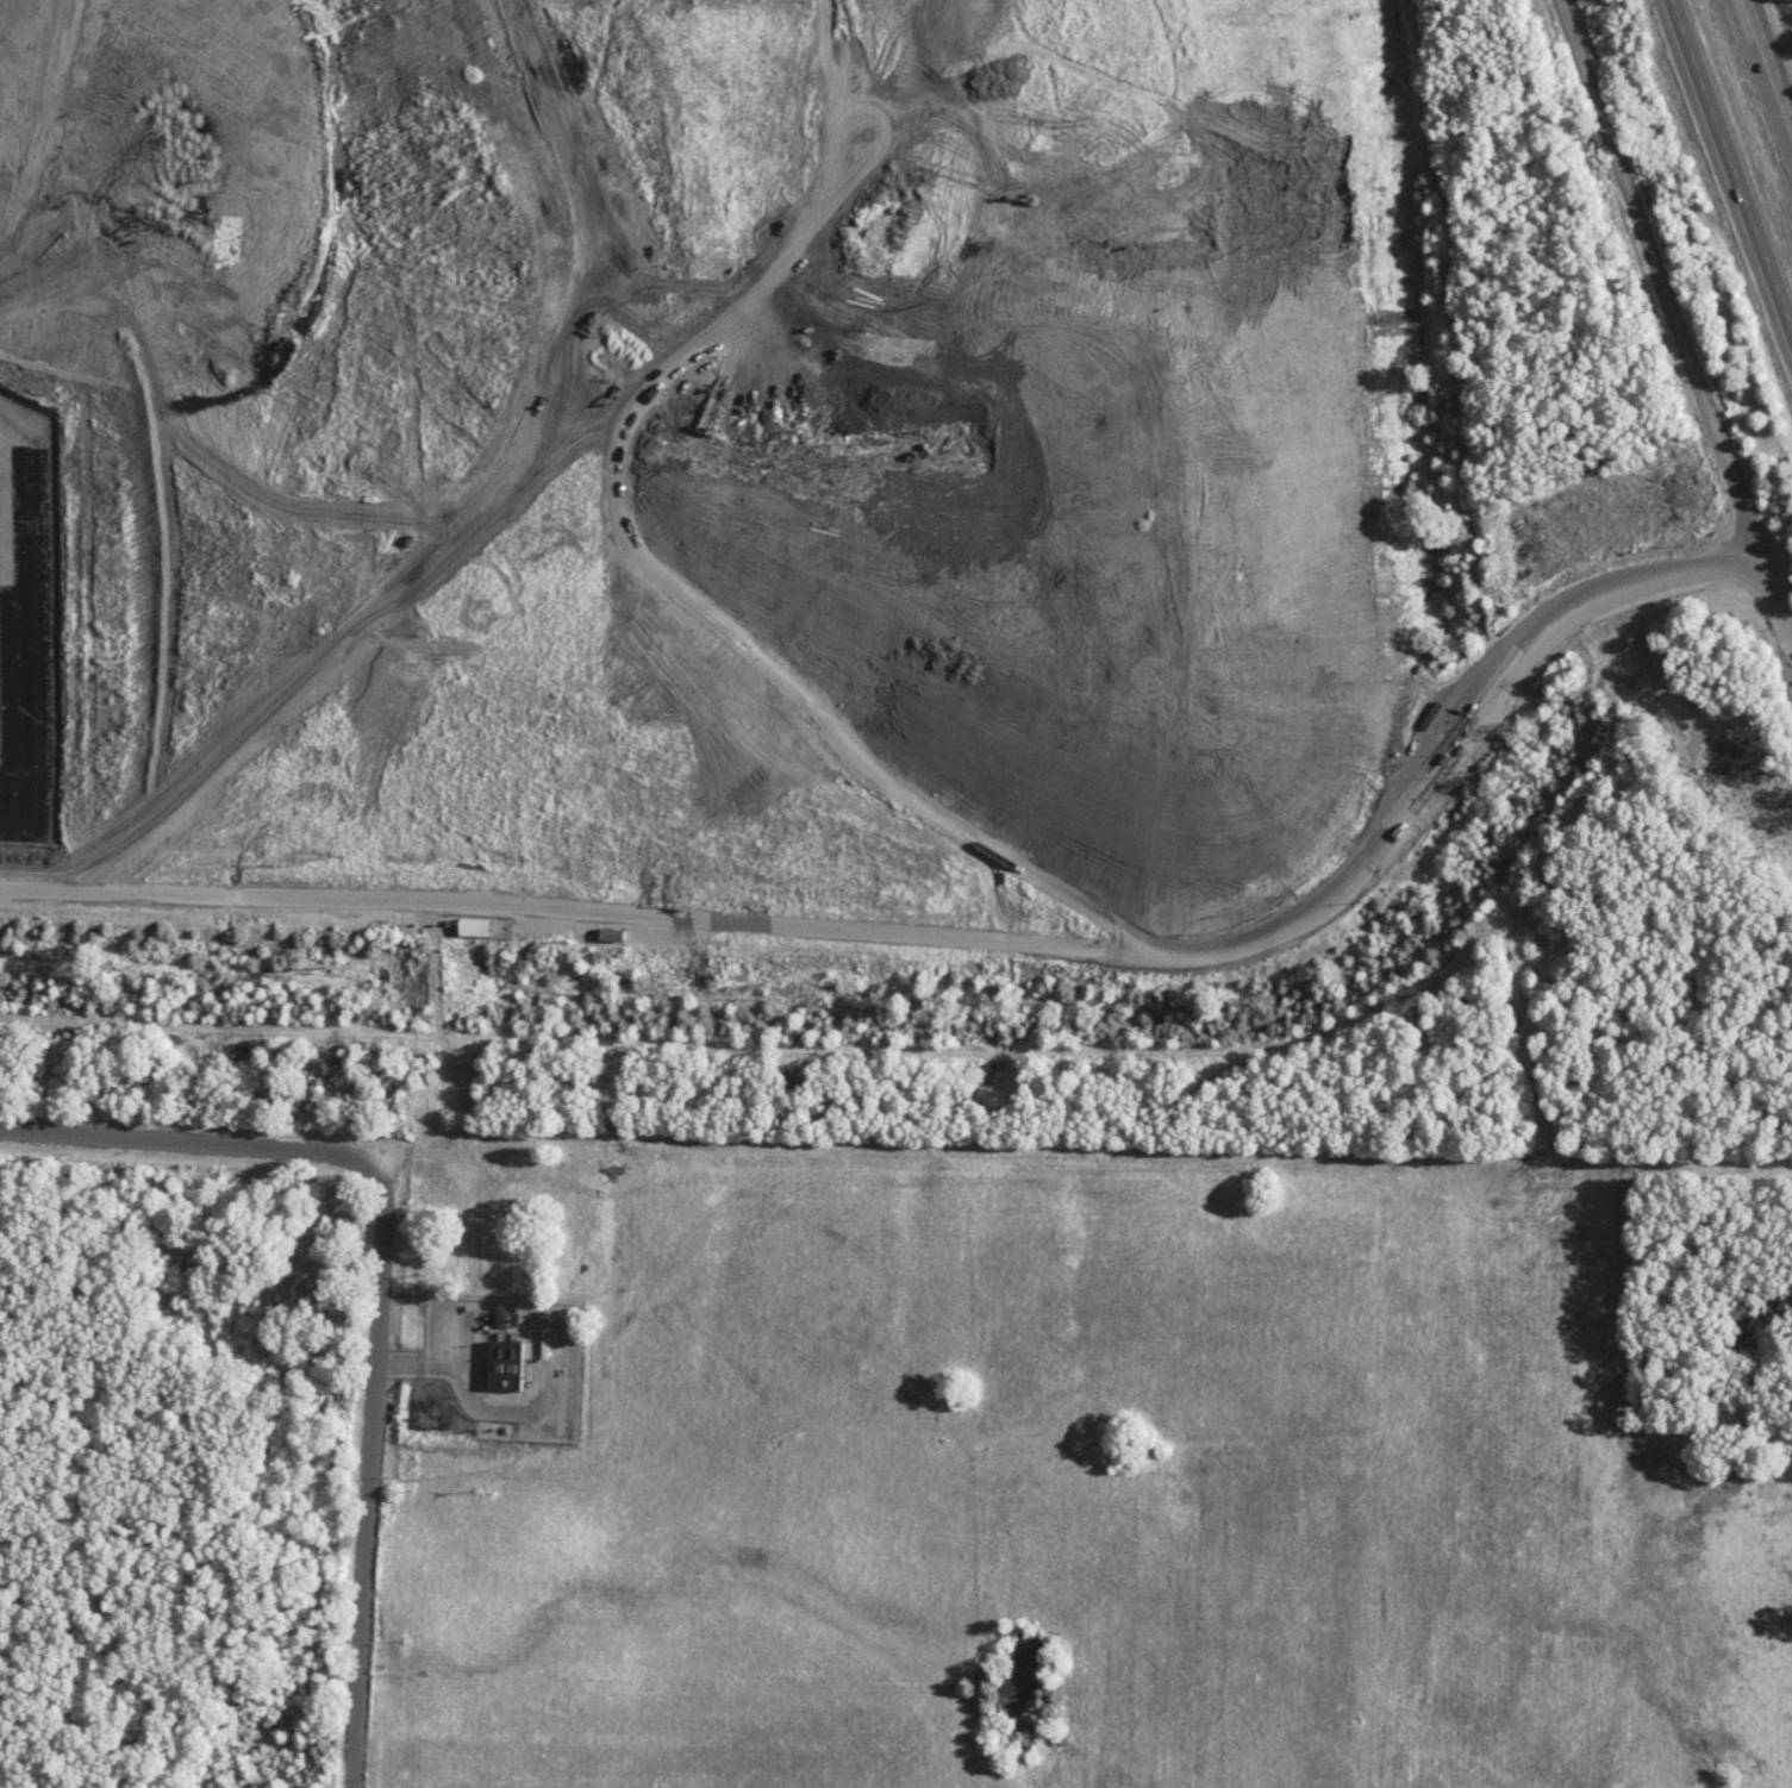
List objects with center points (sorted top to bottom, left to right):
road: (1771, 58)
road: (1730, 168)
road: (1673, 336)
building: (487, 927)
road: (957, 929)
building: (624, 934)
road: (379, 1283)
building: (513, 1378)

